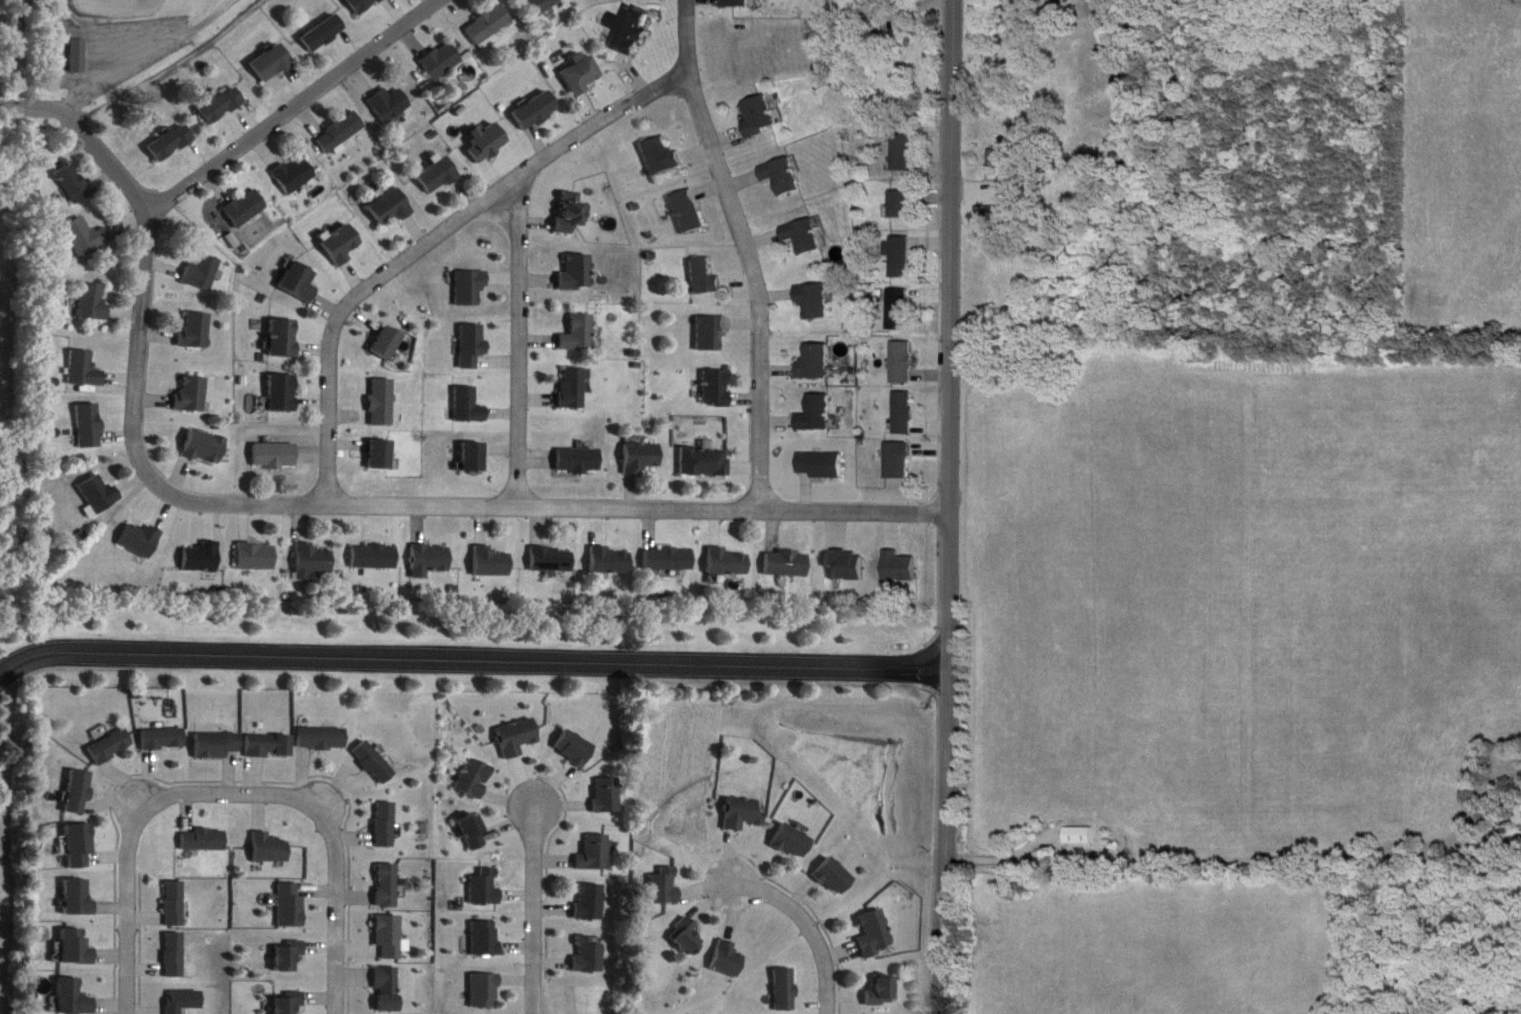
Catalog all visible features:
park: (111, 1)
building: (736, 4)
building: (361, 5)
building: (541, 6)
building: (845, 11)
building: (490, 26)
building: (630, 30)
building: (323, 33)
parking lot: (131, 34)
park: (109, 38)
road: (147, 47)
building: (81, 56)
building: (442, 61)
building: (272, 64)
building: (585, 75)
road: (288, 98)
building: (389, 105)
building: (221, 106)
building: (539, 111)
building: (761, 118)
road: (88, 120)
building: (340, 132)
building: (171, 143)
building: (490, 143)
building: (903, 154)
building: (661, 156)
building: (1005, 159)
building: (294, 176)
building: (439, 176)
building: (784, 177)
building: (72, 184)
building: (903, 206)
building: (245, 208)
building: (391, 209)
building: (688, 213)
building: (572, 214)
building: (989, 215)
road: (431, 229)
building: (84, 237)
building: (807, 237)
road: (746, 243)
building: (343, 244)
road: (951, 249)
building: (902, 258)
building: (203, 273)
building: (578, 274)
building: (705, 278)
building: (300, 282)
building: (471, 289)
building: (92, 302)
building: (818, 302)
building: (901, 310)
road: (518, 328)
building: (195, 332)
building: (711, 333)
building: (579, 335)
building: (285, 338)
building: (389, 343)
building: (473, 345)
building: (819, 362)
building: (905, 363)
building: (85, 370)
building: (717, 387)
building: (574, 389)
building: (283, 393)
building: (190, 395)
building: (383, 402)
building: (468, 406)
building: (905, 414)
building: (820, 415)
building: (88, 426)
building: (204, 447)
building: (383, 455)
building: (275, 456)
building: (474, 458)
building: (644, 458)
building: (579, 460)
building: (705, 460)
building: (899, 462)
building: (824, 466)
road: (410, 490)
building: (99, 494)
building: (141, 540)
building: (258, 557)
building: (375, 557)
building: (202, 558)
building: (670, 559)
building: (553, 560)
building: (431, 561)
building: (612, 562)
building: (314, 563)
building: (491, 563)
building: (728, 563)
building: (788, 564)
road: (471, 649)
building: (518, 736)
building: (324, 737)
building: (165, 738)
building: (220, 744)
building: (271, 744)
building: (111, 746)
building: (575, 747)
road: (949, 756)
building: (376, 761)
building: (477, 777)
road: (232, 782)
building: (79, 791)
building: (608, 794)
building: (745, 812)
building: (388, 823)
building: (476, 830)
building: (1080, 835)
building: (205, 838)
building: (795, 840)
building: (80, 844)
building: (272, 847)
building: (596, 852)
building: (836, 876)
building: (390, 884)
building: (666, 885)
building: (487, 886)
building: (78, 897)
building: (590, 901)
building: (175, 902)
building: (292, 905)
road: (534, 911)
road: (802, 928)
building: (876, 934)
building: (391, 936)
building: (488, 937)
building: (76, 946)
building: (174, 954)
building: (588, 954)
building: (290, 955)
building: (729, 959)
building: (390, 988)
building: (785, 989)
building: (487, 990)
building: (881, 991)
building: (72, 997)
building: (184, 1000)
building: (289, 1005)

